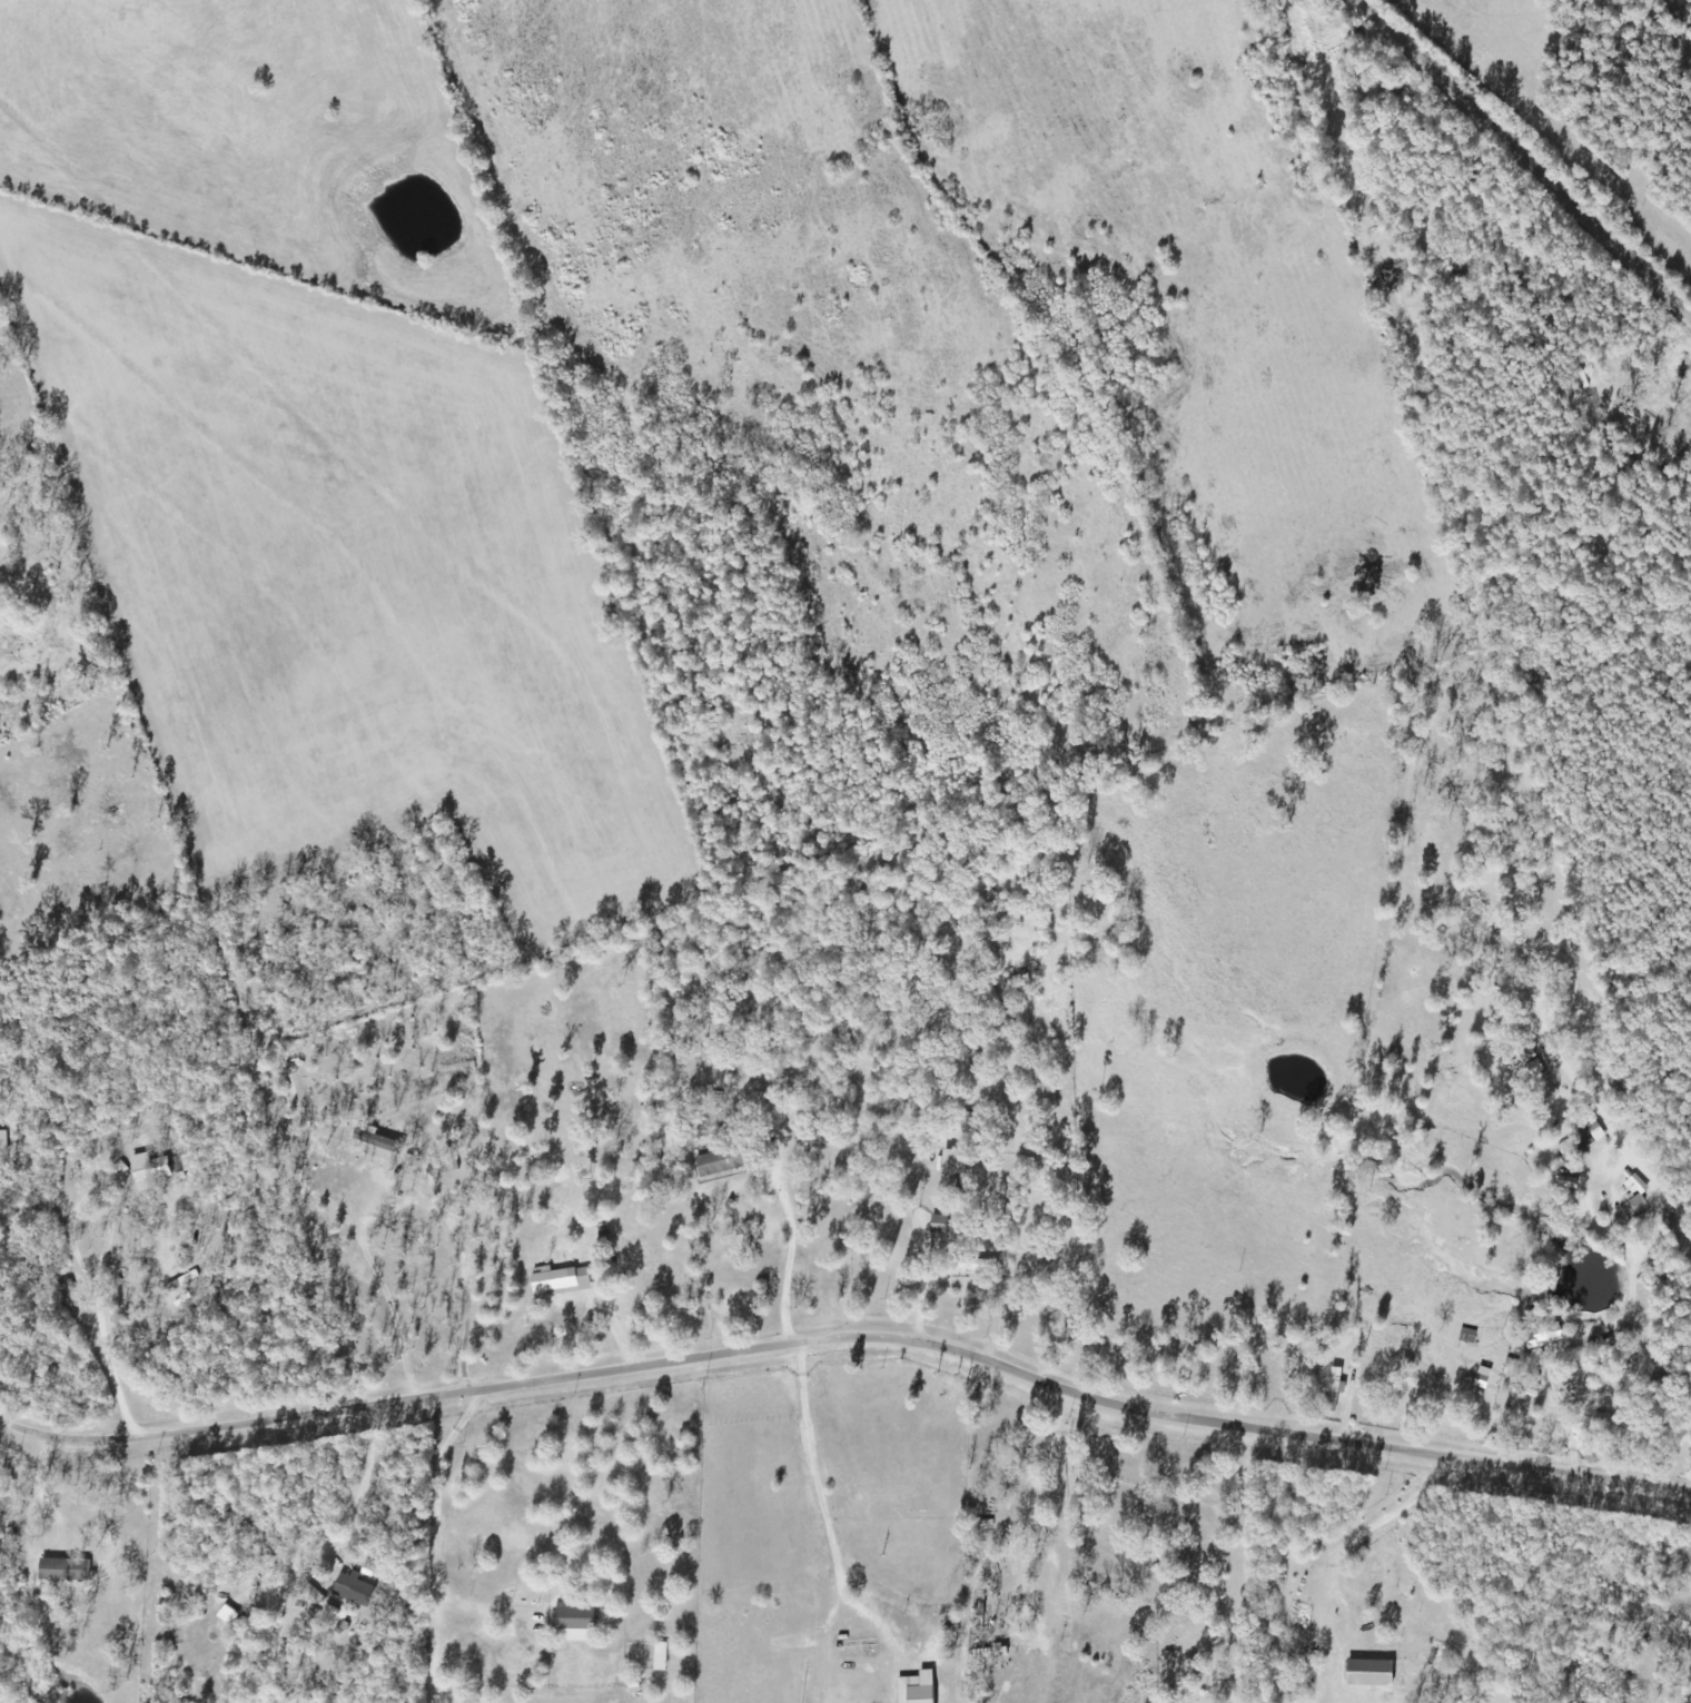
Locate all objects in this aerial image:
road: (1521, 160)
building: (1583, 1141)
building: (382, 1145)
building: (953, 1162)
building: (155, 1170)
building: (1636, 1195)
building: (562, 1281)
building: (1543, 1334)
road: (849, 1337)
building: (65, 1571)
building: (355, 1590)
building: (575, 1622)
building: (1371, 1673)
building: (917, 1689)

